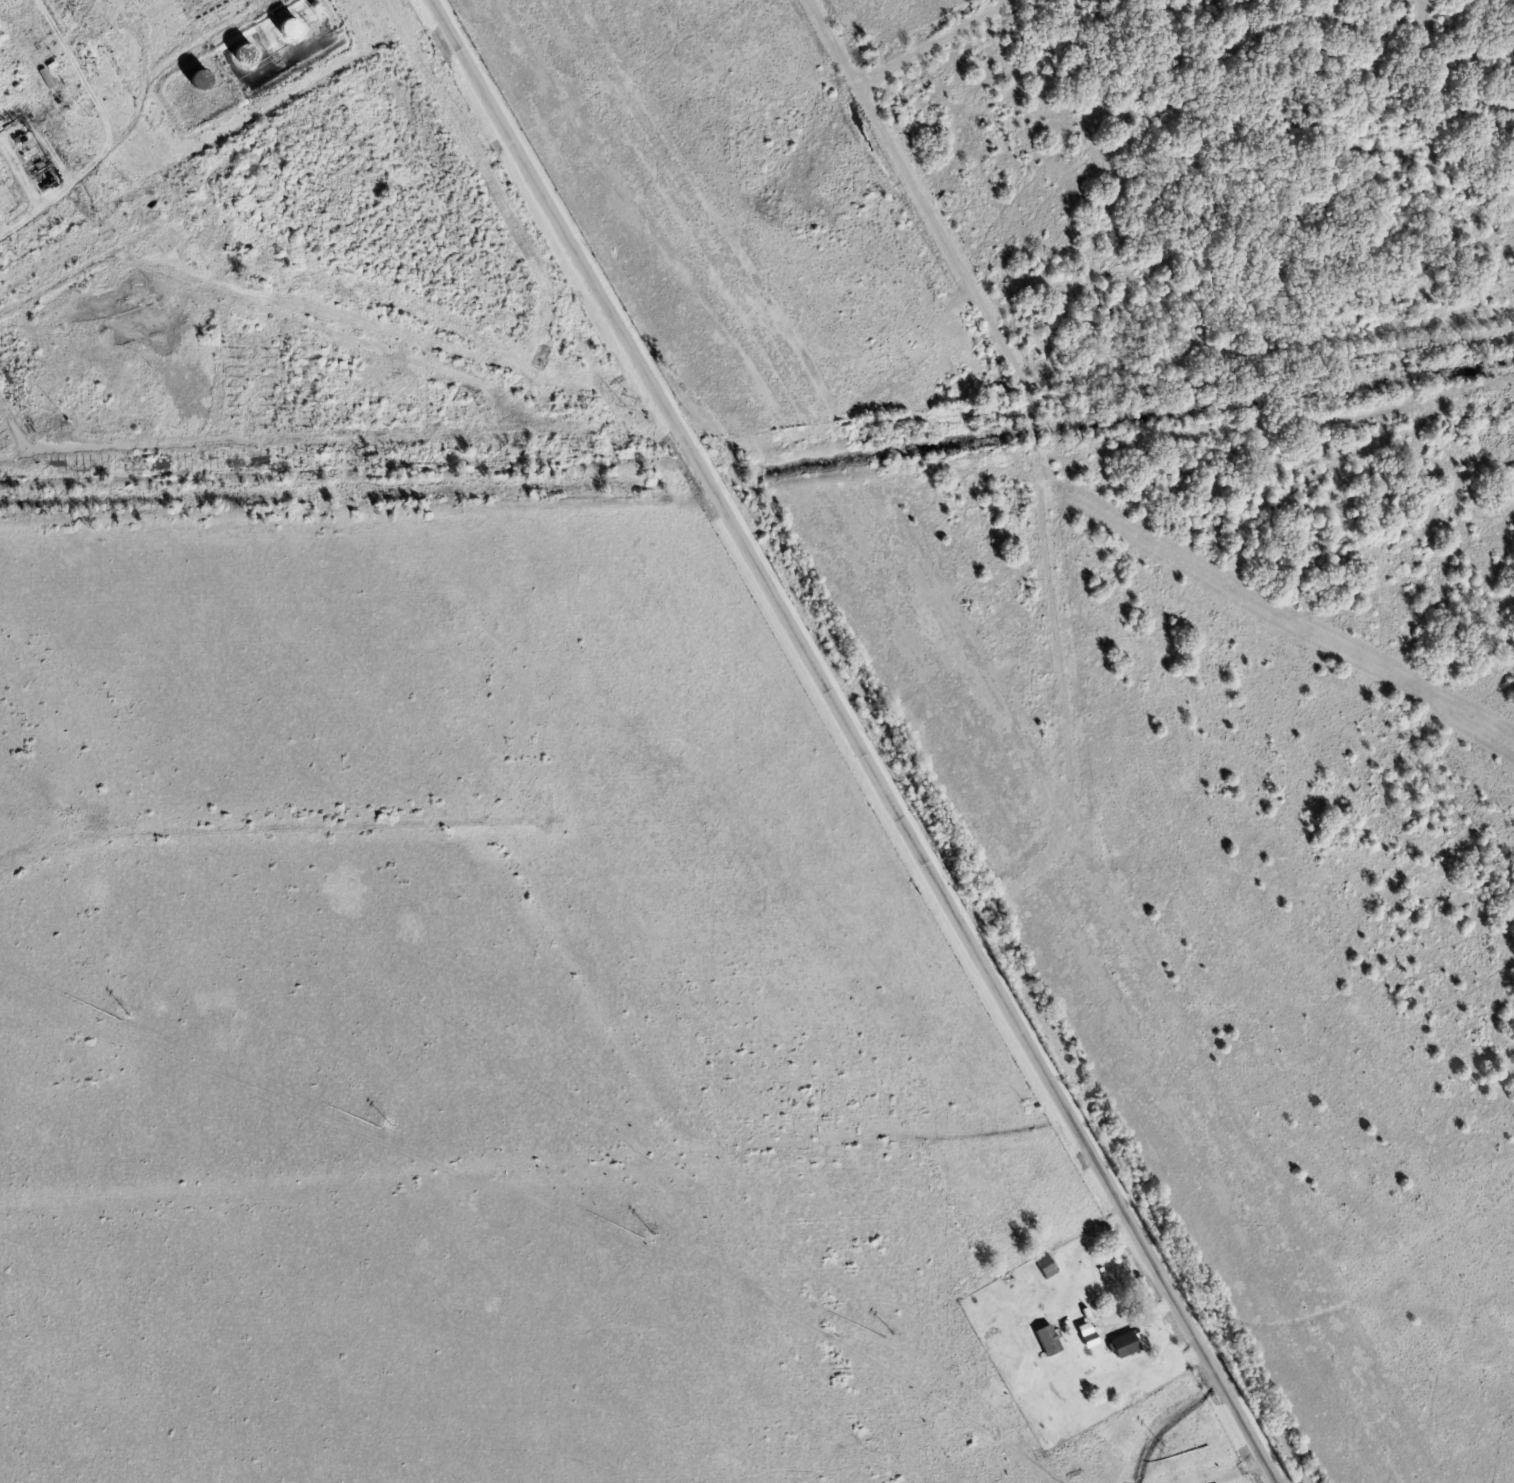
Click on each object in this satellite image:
road: (936, 43)
road: (937, 222)
road: (104, 257)
road: (329, 331)
road: (25, 438)
road: (308, 443)
road: (853, 741)
road: (273, 828)
building: (1046, 1266)
building: (1088, 1335)
building: (1048, 1341)
building: (1125, 1346)
road: (1222, 1473)

